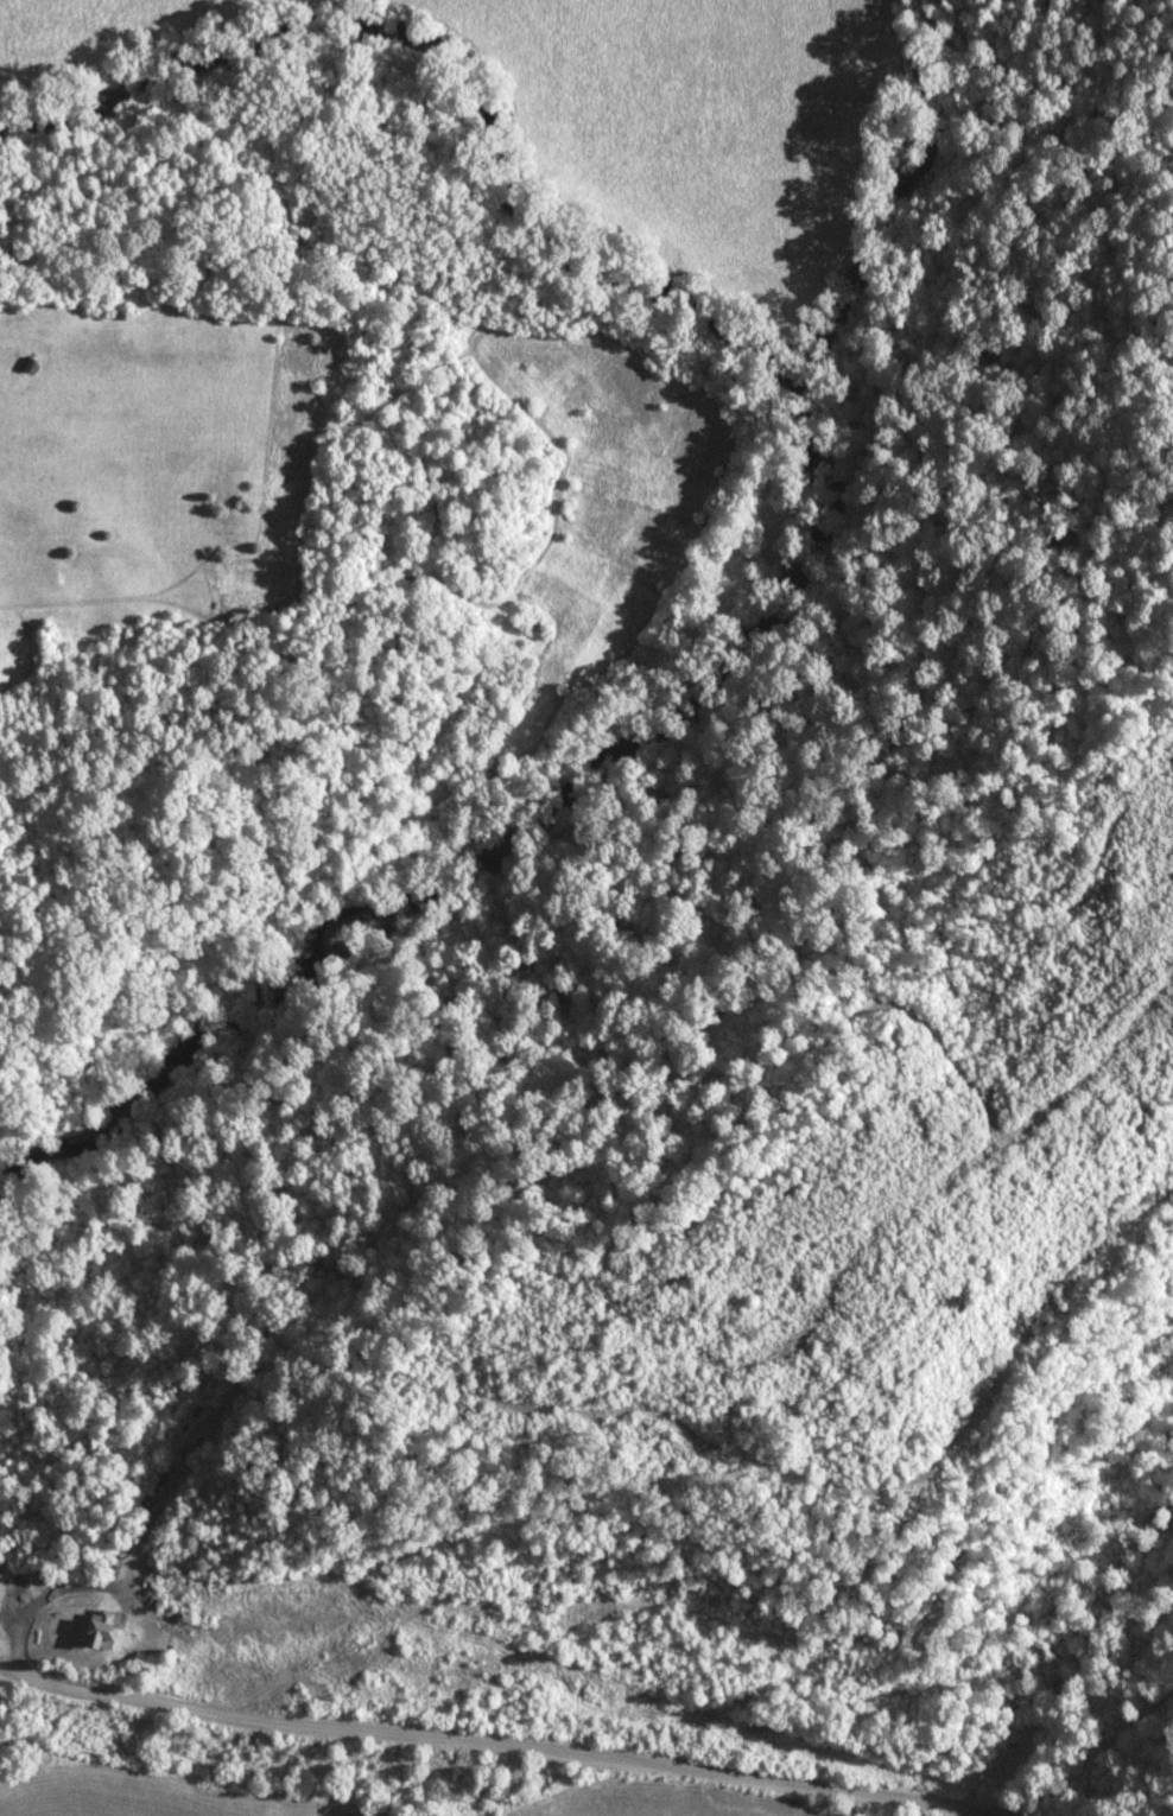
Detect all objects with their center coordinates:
river: (903, 204)
river: (833, 503)
building: (102, 1631)
building: (1, 1698)
road: (488, 1746)

